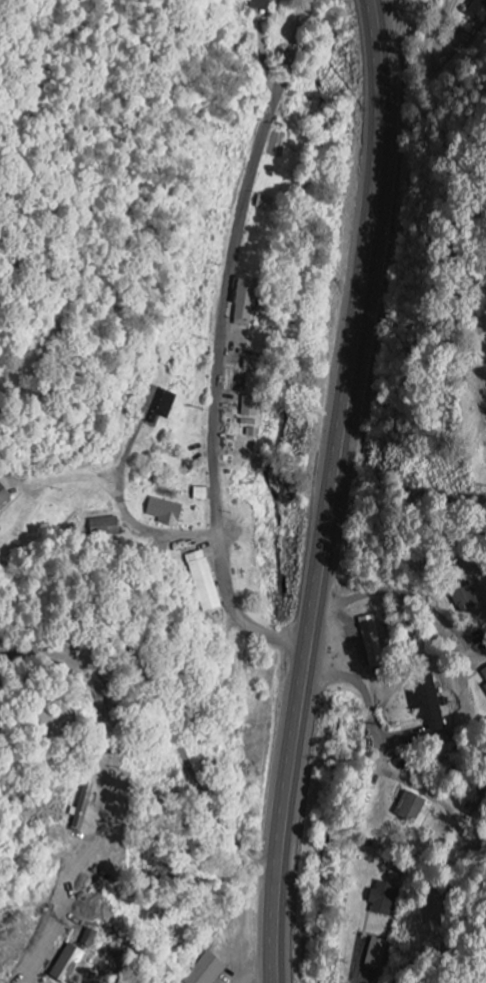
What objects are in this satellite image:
building: (241, 304)
road: (217, 351)
building: (156, 406)
building: (247, 406)
road: (334, 491)
building: (198, 494)
building: (3, 495)
building: (162, 512)
road: (176, 535)
building: (203, 582)
road: (398, 593)
building: (463, 593)
building: (368, 634)
building: (483, 674)
building: (484, 688)
building: (423, 699)
road: (164, 714)
road: (382, 758)
road: (111, 786)
building: (81, 808)
building: (408, 808)
building: (381, 900)
building: (86, 938)
building: (377, 955)
building: (64, 965)
building: (205, 970)

